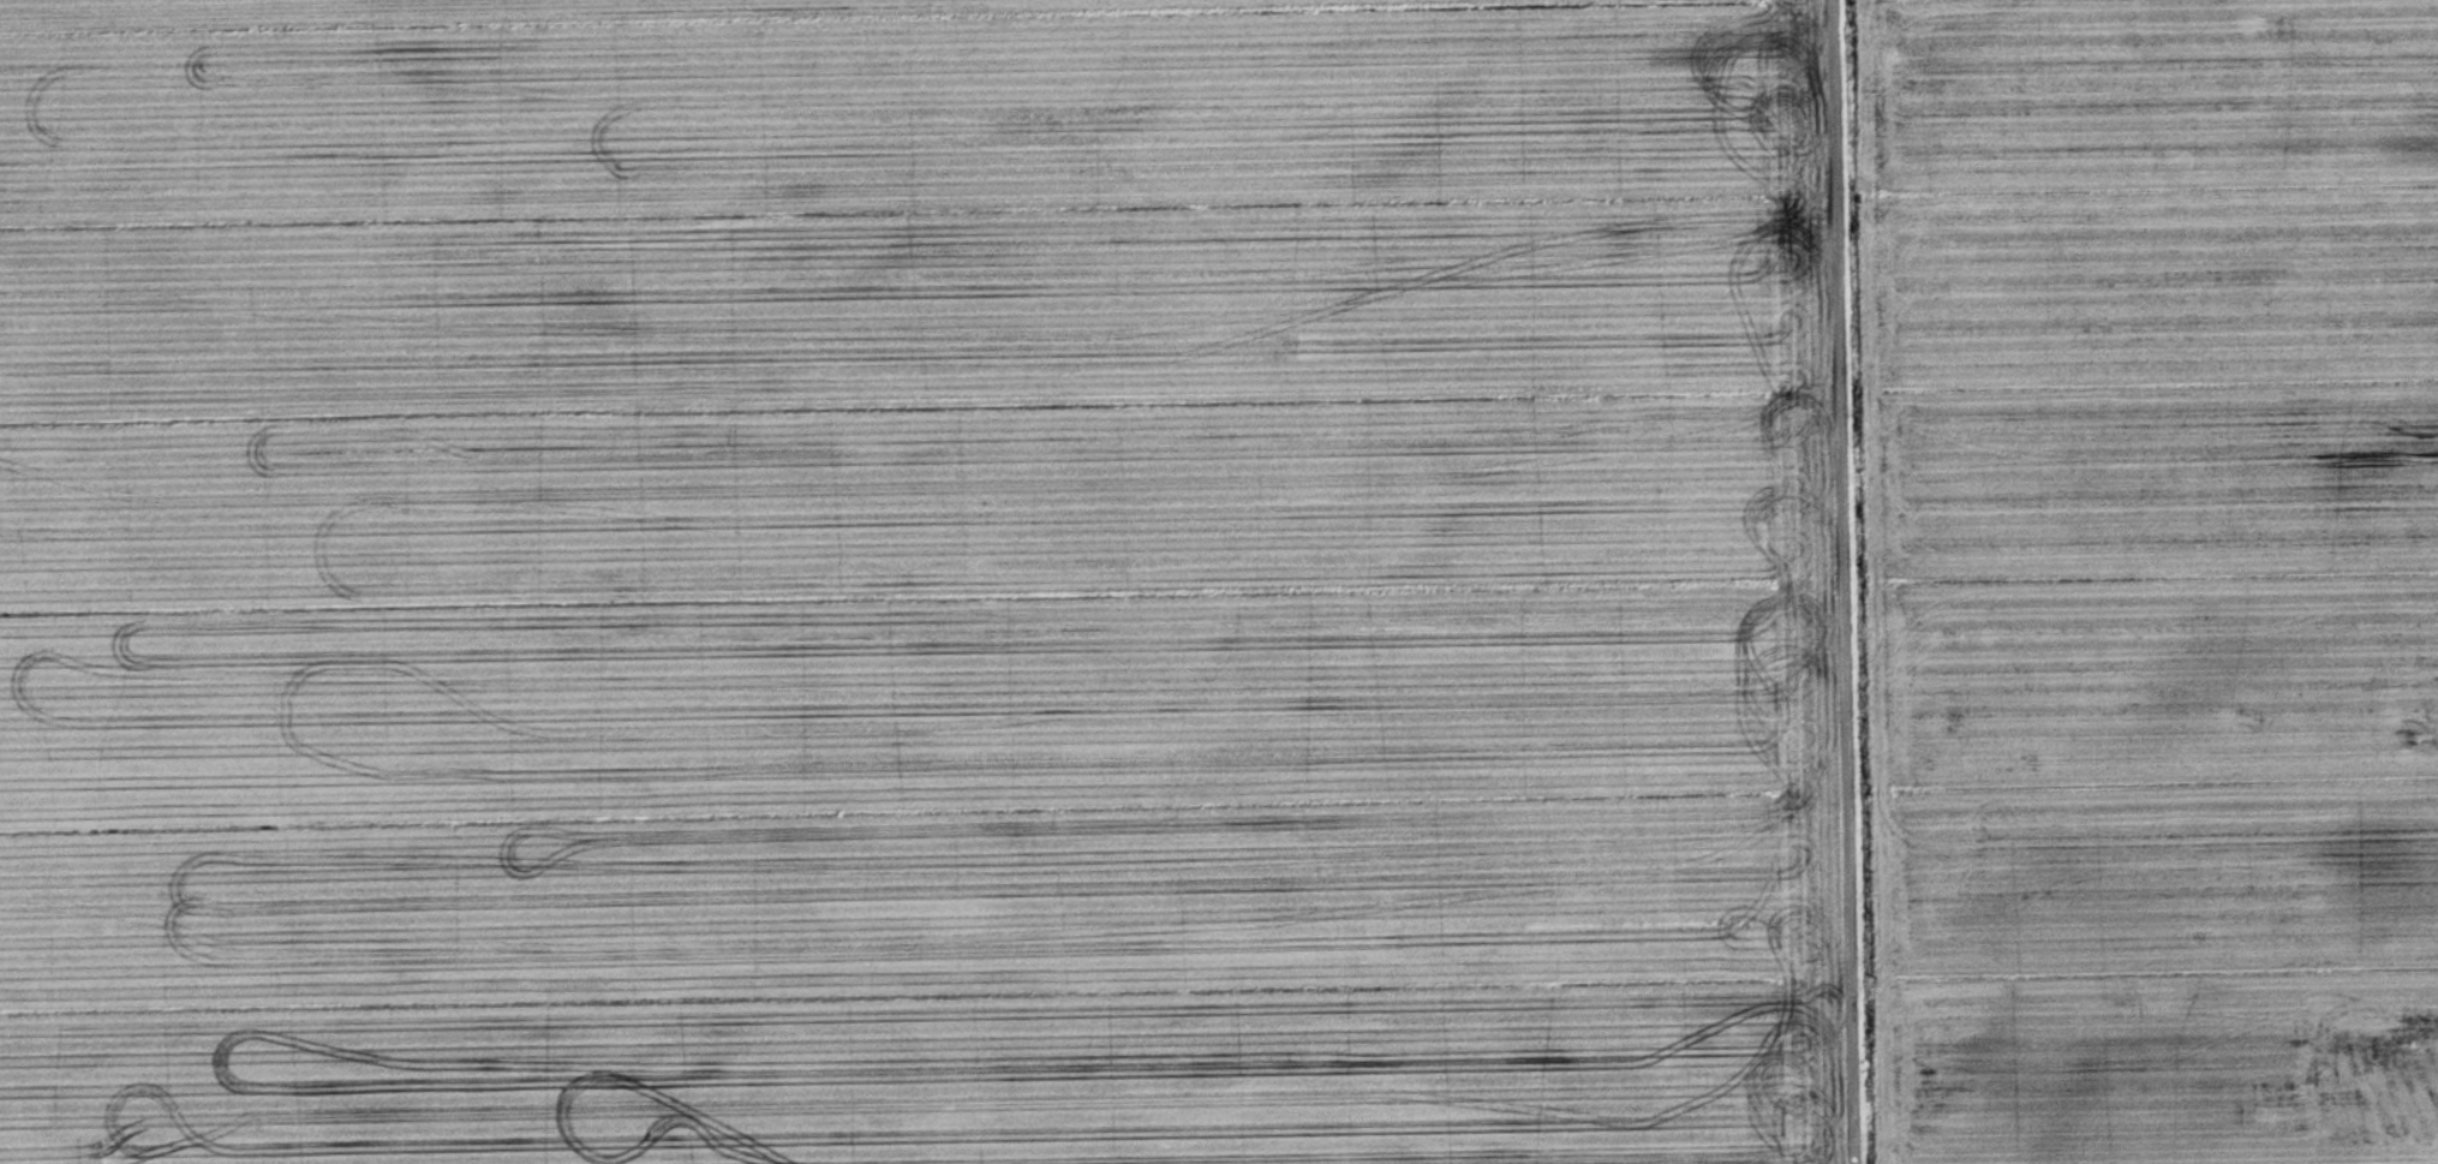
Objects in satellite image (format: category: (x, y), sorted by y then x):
crop: (918, 583)

